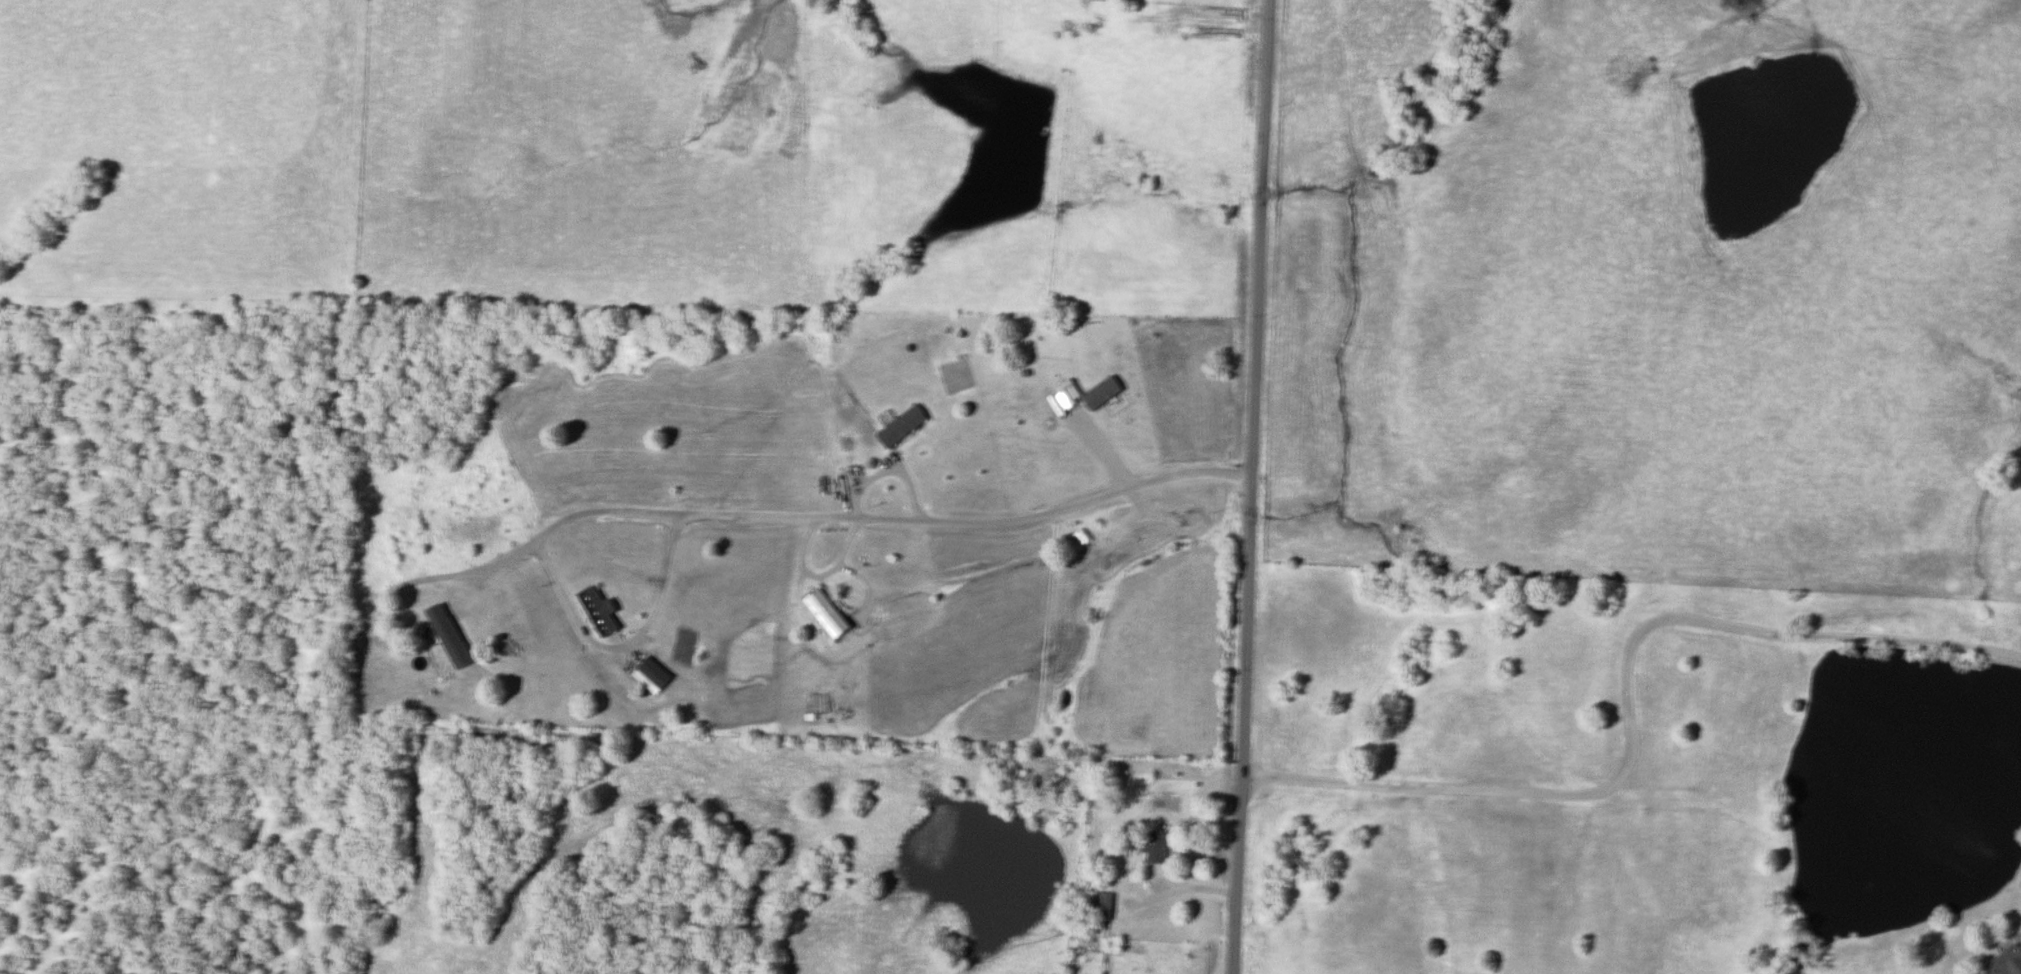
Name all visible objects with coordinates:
building: (1103, 395)
building: (903, 428)
road: (887, 470)
road: (1250, 486)
road: (779, 516)
road: (816, 575)
building: (600, 612)
building: (828, 614)
building: (450, 638)
road: (626, 647)
building: (653, 677)
road: (1630, 705)
building: (1157, 849)
road: (1168, 892)
building: (1104, 913)
building: (2008, 963)

